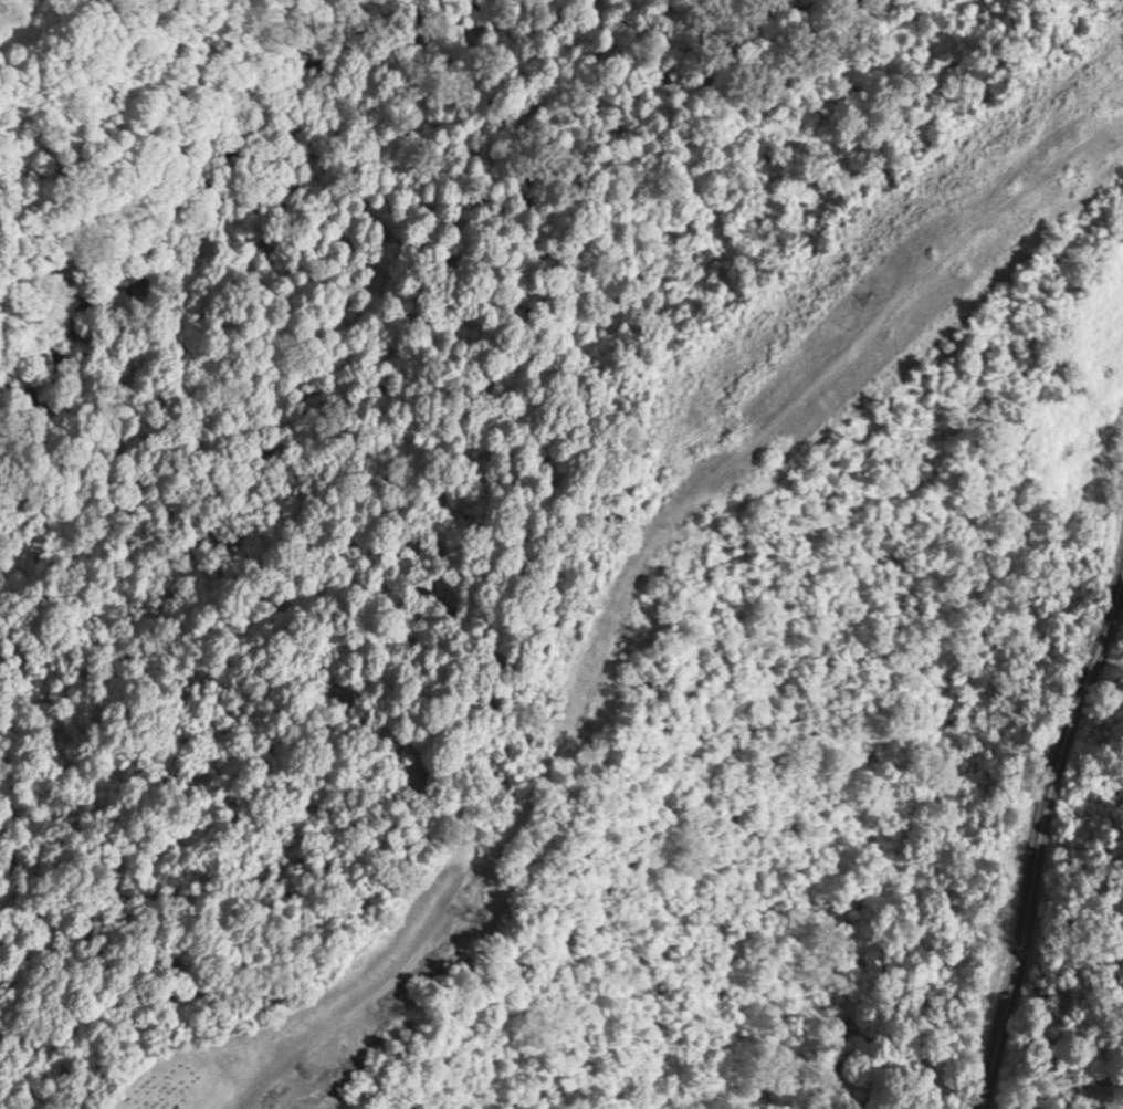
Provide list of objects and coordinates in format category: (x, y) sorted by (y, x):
road: (1038, 830)
park: (175, 1094)

